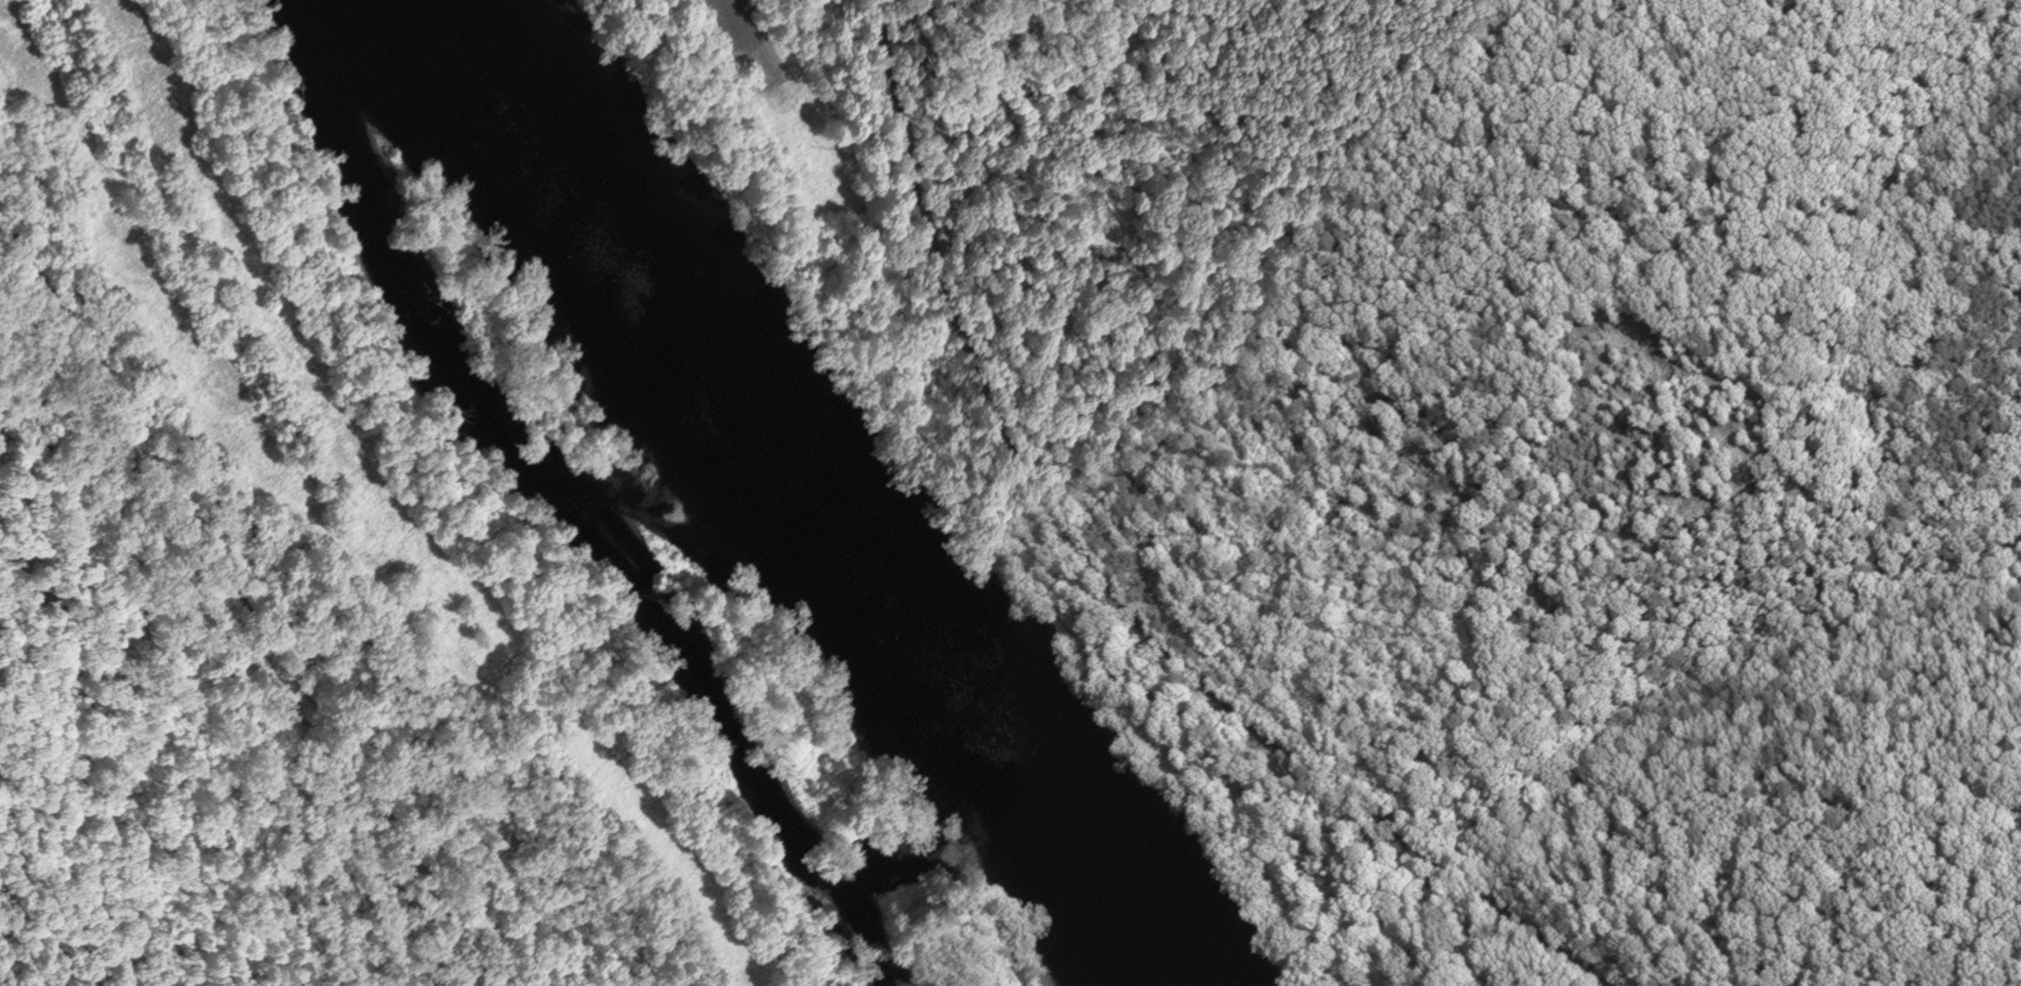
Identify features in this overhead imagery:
river: (809, 490)
road: (1106, 583)
road: (245, 600)

